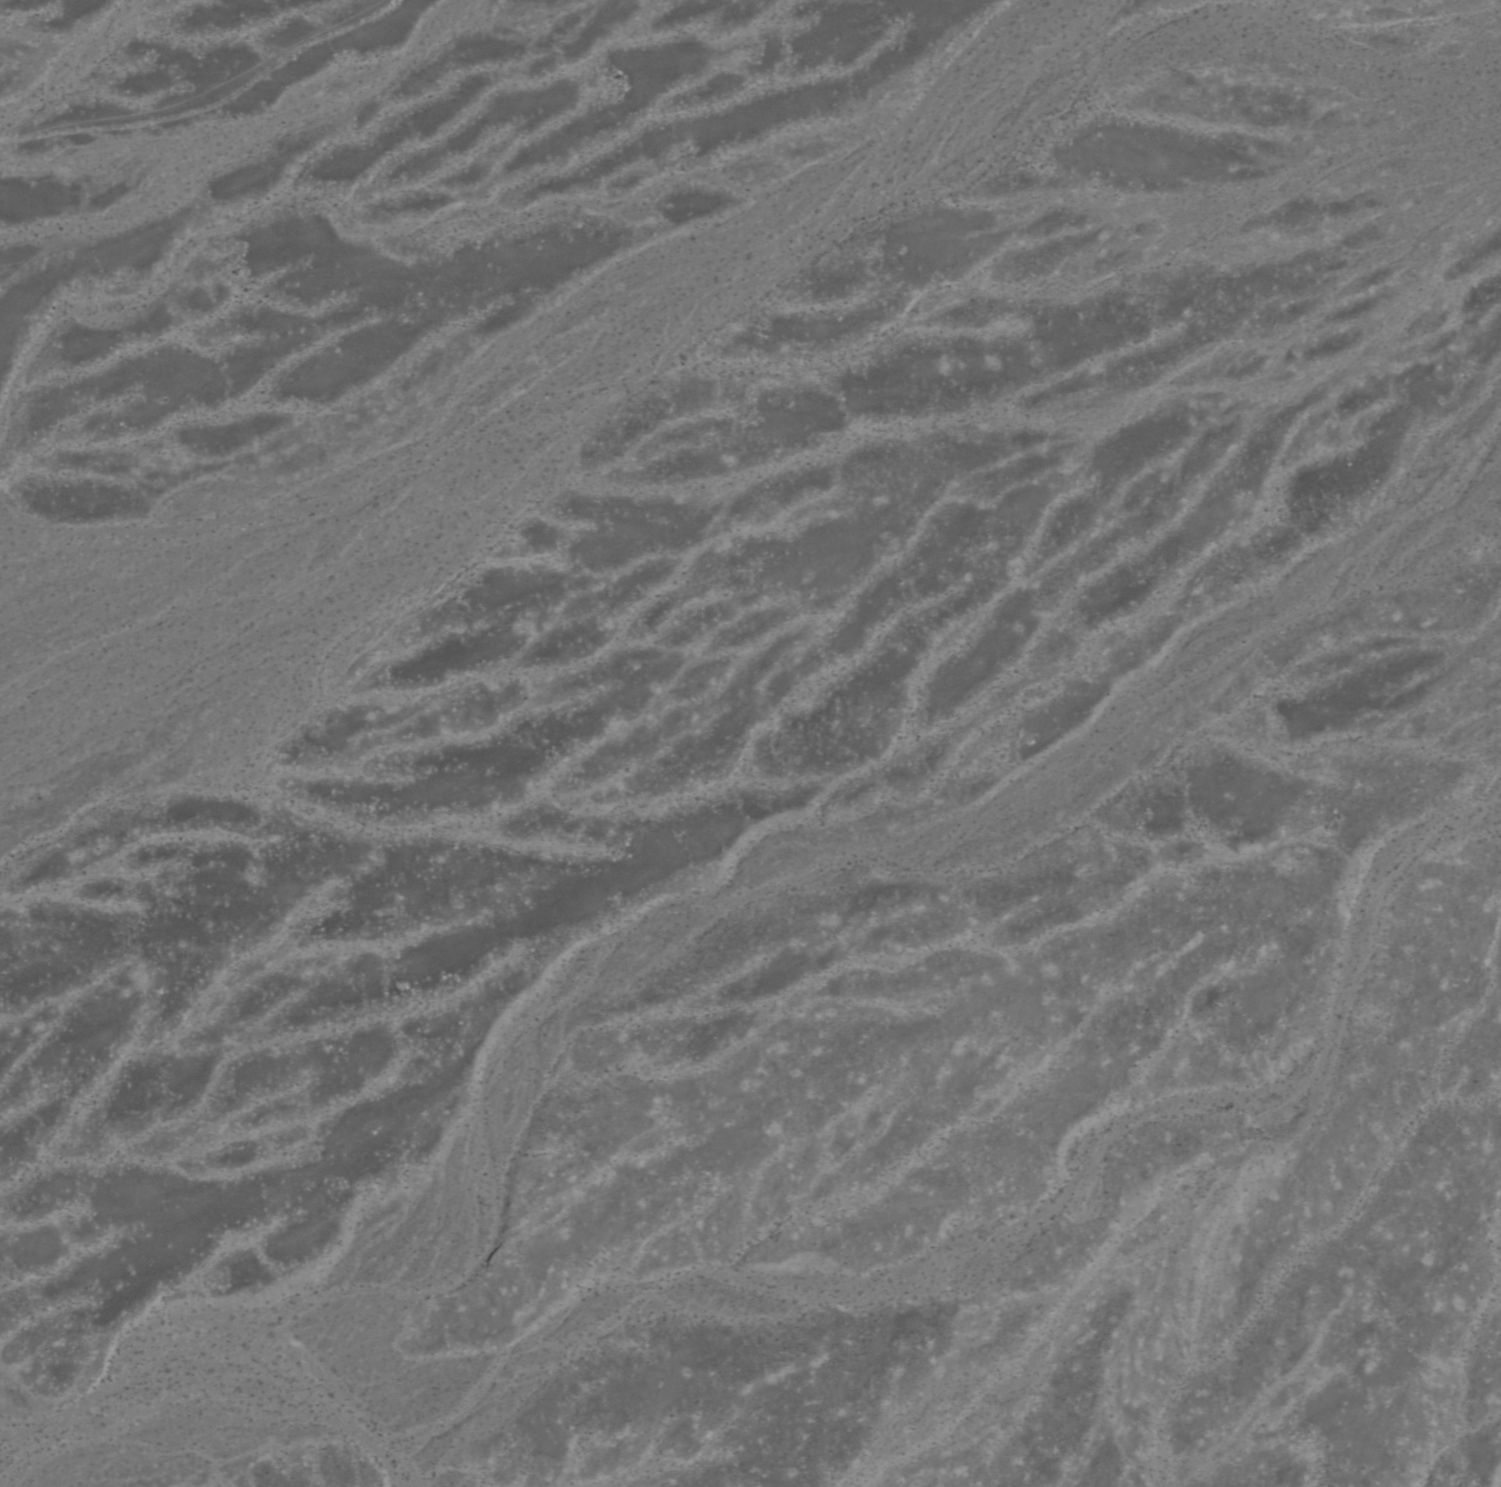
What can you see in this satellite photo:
road: (210, 104)

